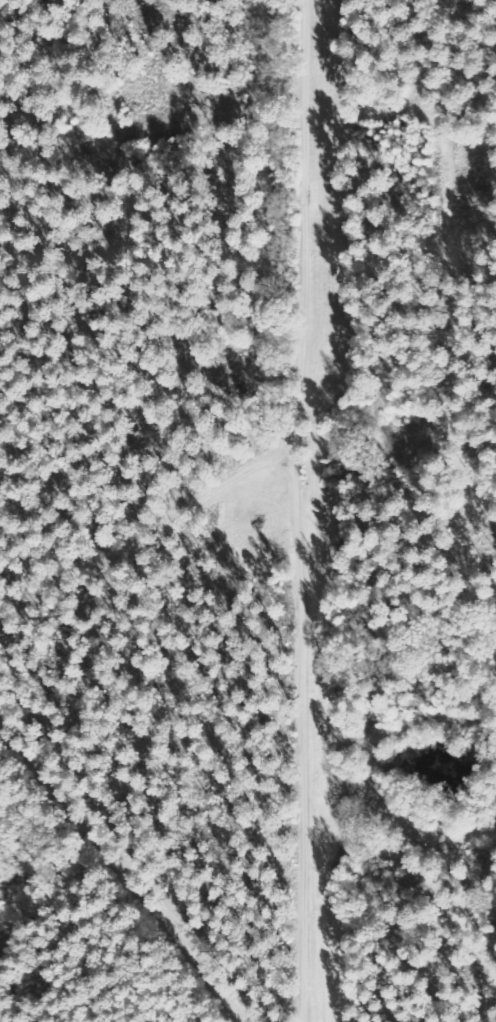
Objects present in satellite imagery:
road: (318, 261)
road: (154, 588)

